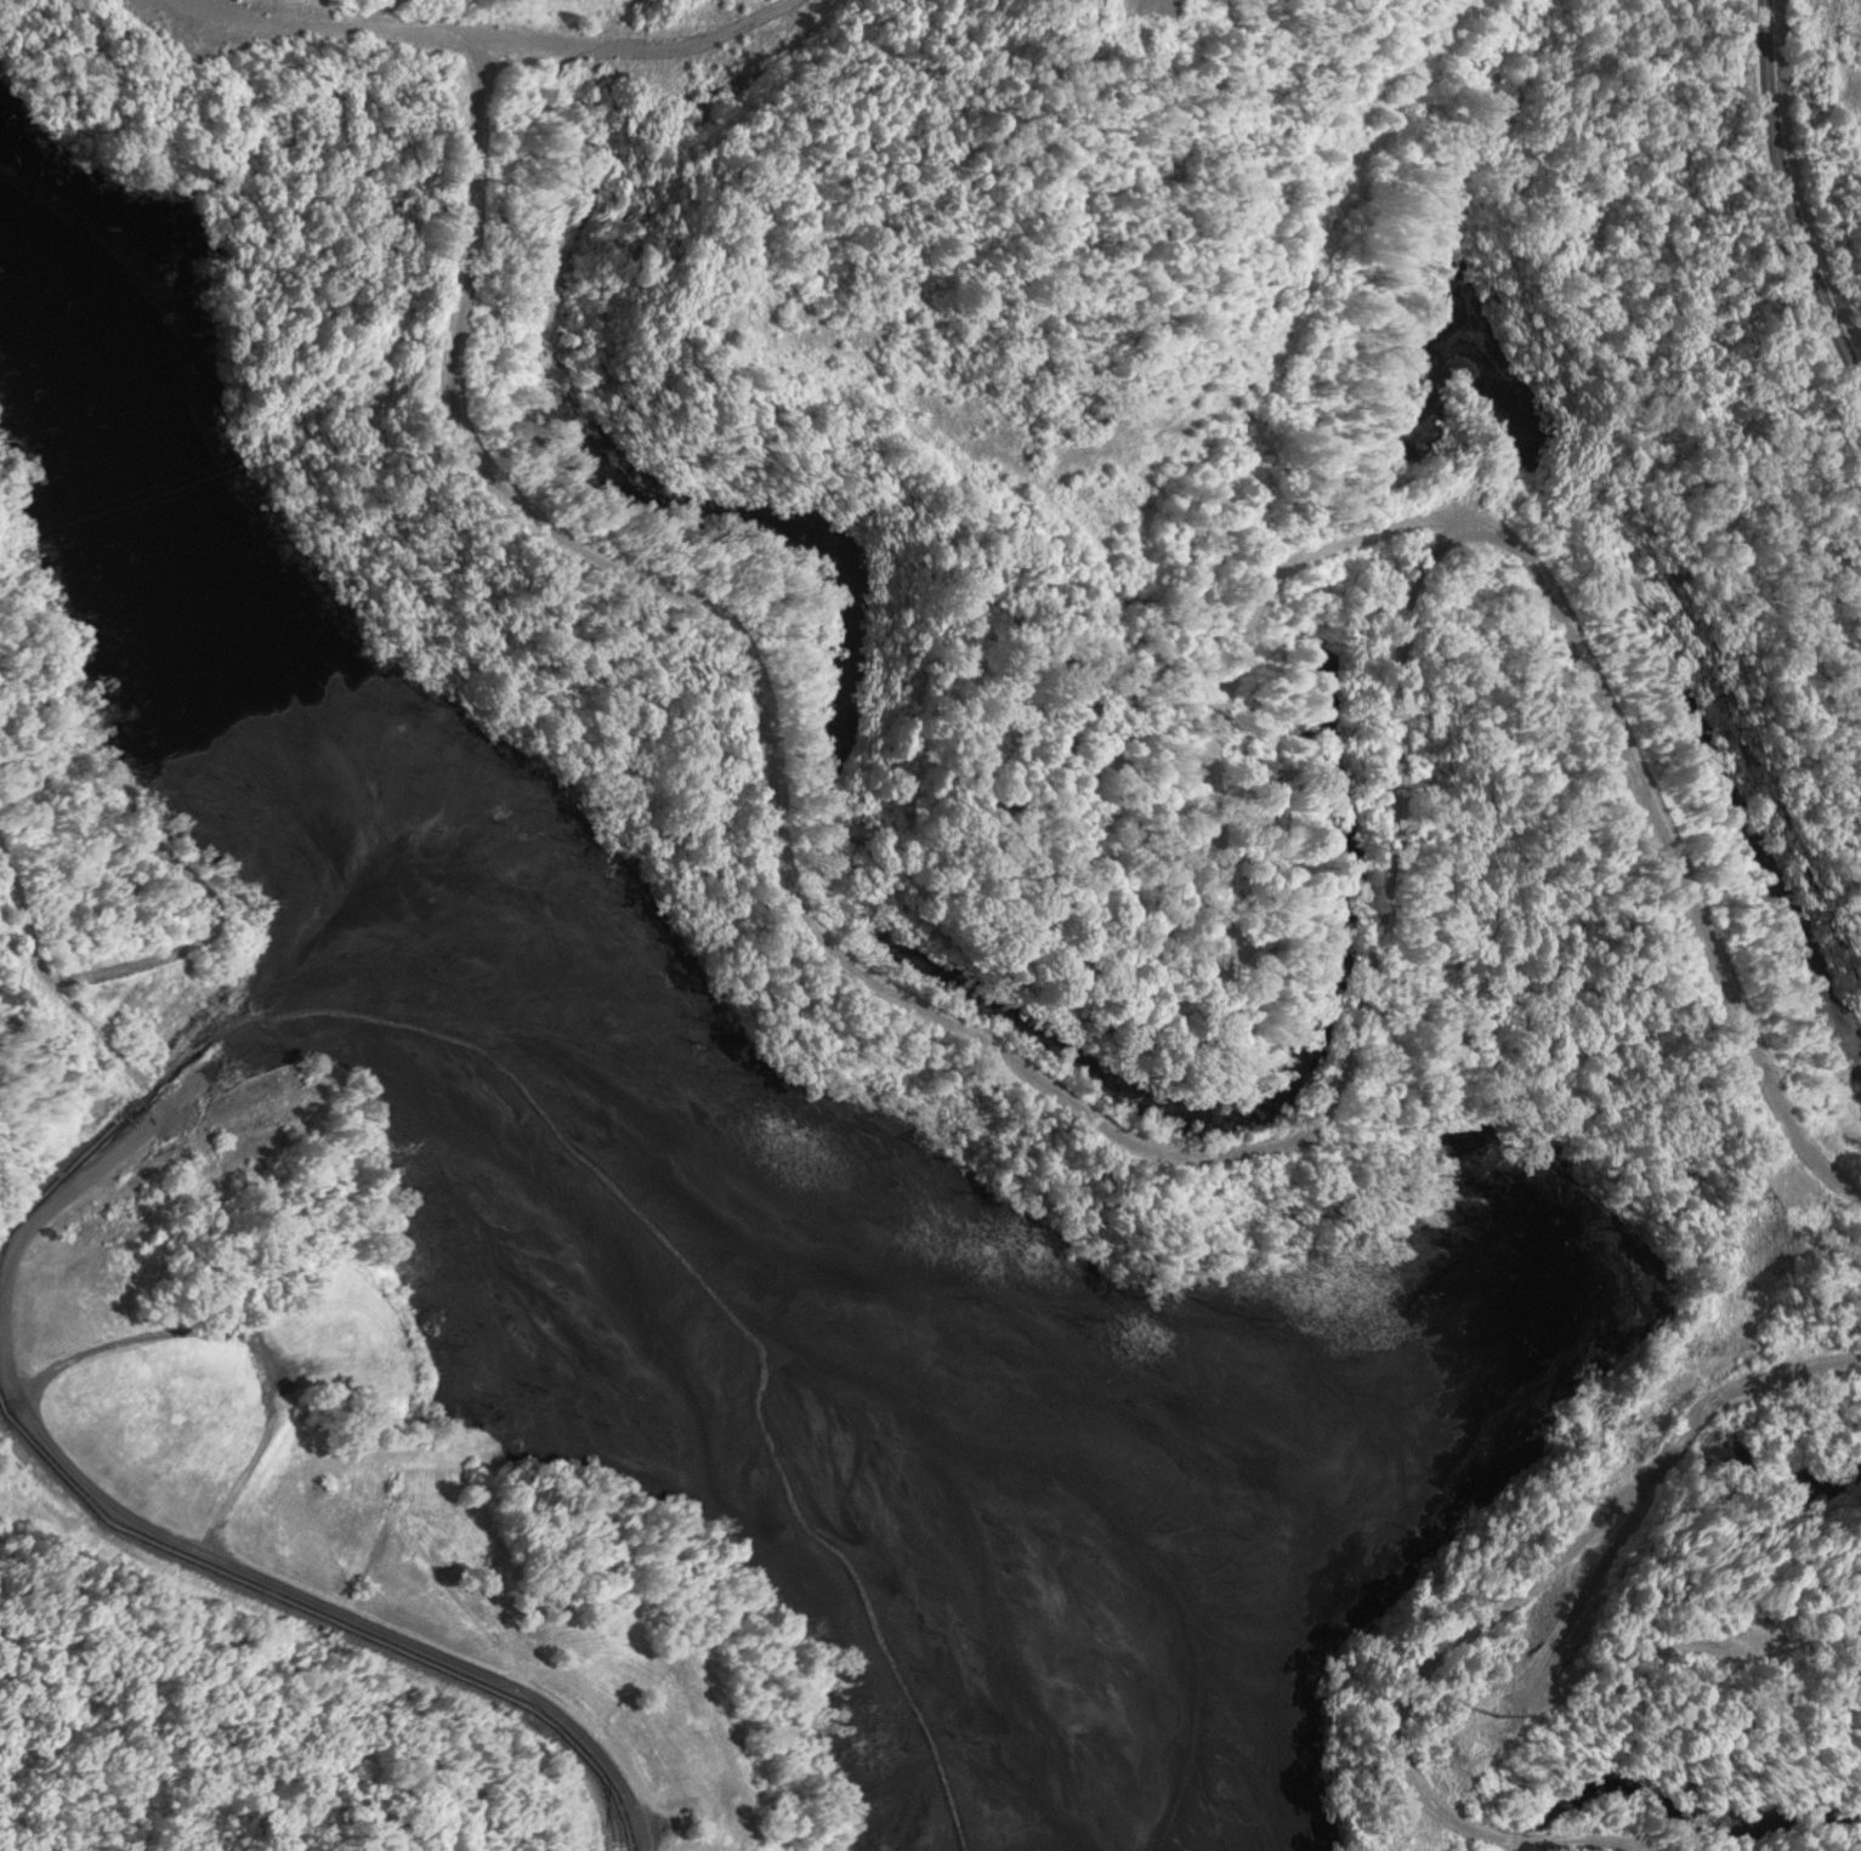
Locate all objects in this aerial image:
road: (1789, 194)
power tower: (1485, 1732)

